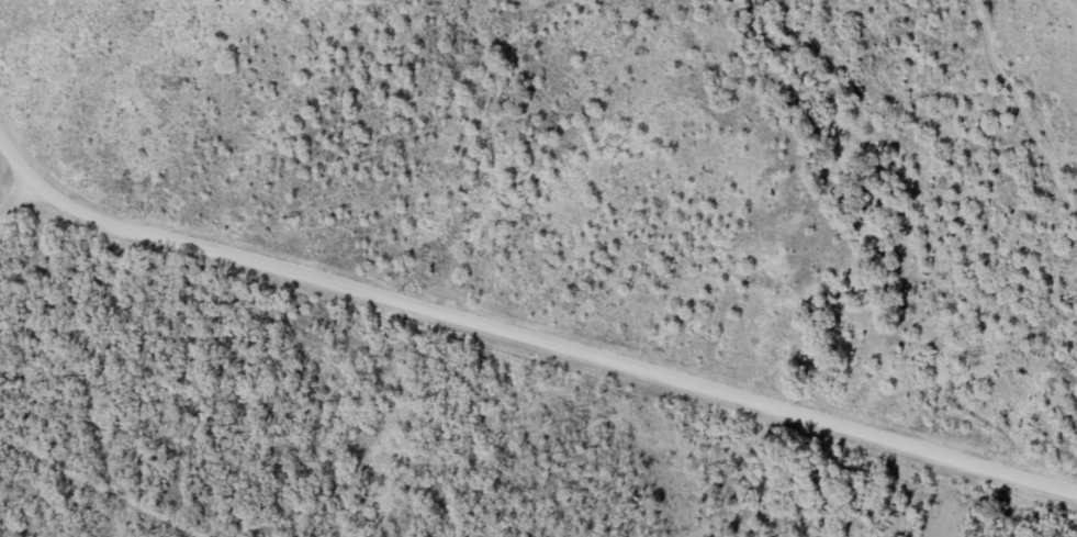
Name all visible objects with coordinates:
road: (29, 123)
road: (524, 325)

